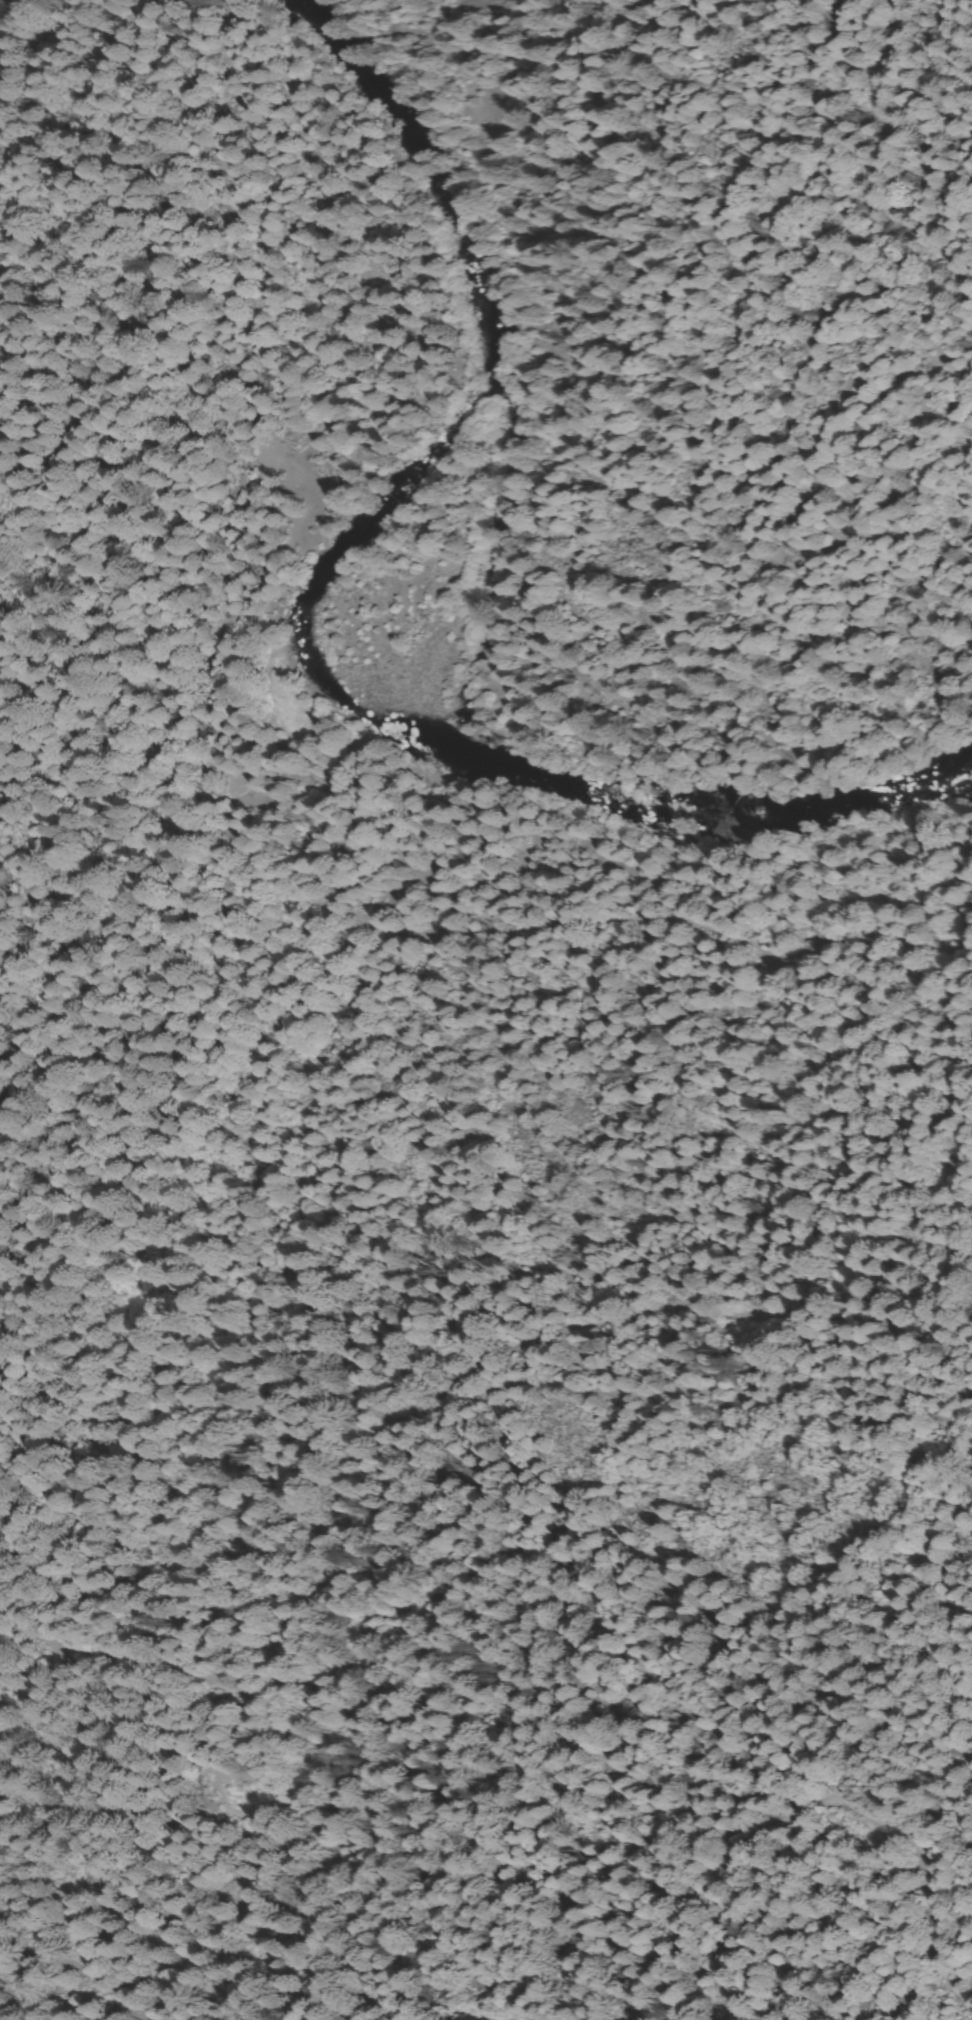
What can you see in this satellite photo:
river: (433, 463)
river: (771, 820)
road: (421, 1455)

